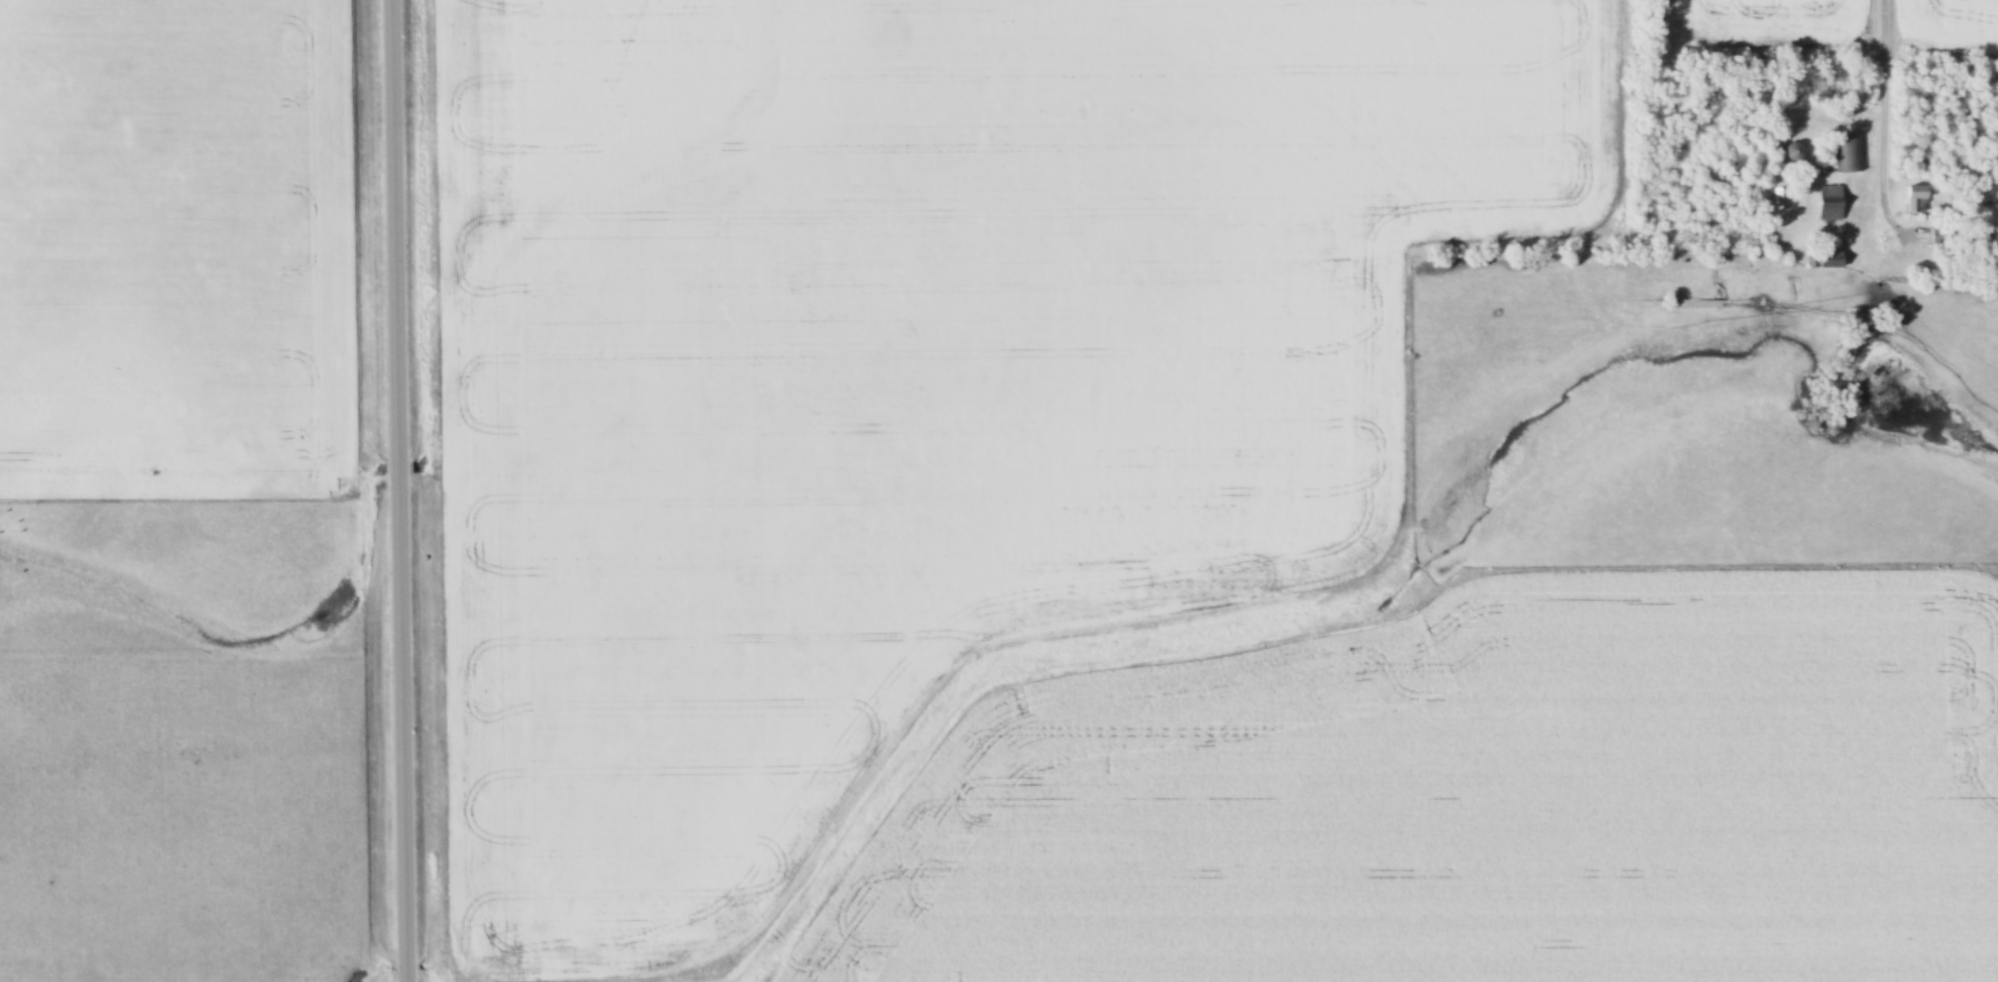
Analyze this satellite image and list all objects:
road: (1880, 125)
building: (1794, 152)
building: (1852, 154)
building: (1916, 200)
building: (1831, 209)
building: (1831, 262)
road: (396, 490)

